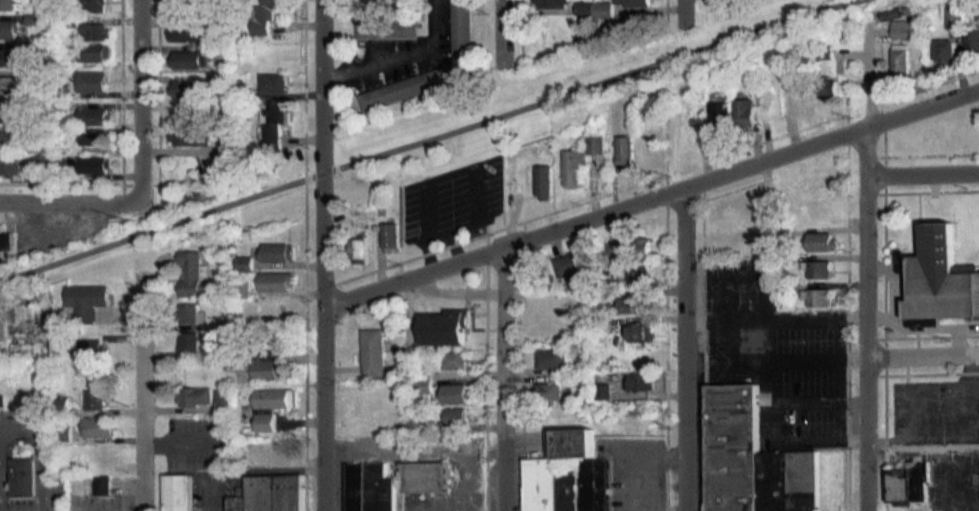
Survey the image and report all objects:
building: (556, 3)
building: (9, 5)
building: (94, 6)
road: (684, 7)
building: (596, 9)
building: (267, 15)
building: (958, 15)
building: (392, 24)
building: (9, 29)
building: (905, 29)
road: (503, 32)
building: (98, 33)
building: (189, 33)
building: (974, 45)
building: (951, 52)
building: (97, 53)
building: (9, 58)
road: (400, 59)
building: (189, 60)
building: (903, 63)
building: (94, 83)
building: (275, 84)
building: (10, 86)
building: (829, 87)
building: (188, 89)
building: (805, 96)
road: (146, 102)
building: (778, 104)
building: (63, 106)
building: (9, 114)
building: (746, 114)
building: (96, 117)
building: (189, 117)
building: (722, 118)
building: (274, 124)
building: (95, 138)
building: (191, 138)
road: (427, 138)
building: (9, 142)
building: (626, 154)
building: (579, 161)
building: (97, 165)
building: (9, 167)
building: (221, 172)
road: (924, 173)
building: (544, 181)
road: (652, 199)
road: (74, 204)
building: (825, 207)
building: (742, 216)
building: (391, 235)
building: (822, 241)
building: (5, 242)
building: (640, 248)
building: (359, 250)
building: (615, 251)
building: (278, 252)
road: (325, 255)
building: (571, 263)
road: (868, 265)
building: (821, 269)
building: (641, 272)
building: (192, 274)
building: (941, 278)
building: (278, 281)
building: (820, 297)
building: (86, 300)
building: (630, 305)
building: (189, 313)
building: (445, 326)
building: (643, 331)
building: (30, 332)
building: (190, 340)
road: (689, 349)
building: (374, 352)
road: (778, 355)
building: (92, 356)
building: (554, 358)
road: (923, 359)
building: (456, 360)
building: (262, 366)
road: (505, 379)
building: (643, 380)
building: (424, 389)
building: (549, 391)
building: (456, 392)
road: (152, 395)
building: (196, 395)
building: (95, 398)
building: (272, 406)
building: (387, 416)
building: (457, 416)
building: (99, 426)
building: (64, 429)
road: (783, 433)
building: (279, 450)
building: (99, 455)
building: (753, 458)
building: (568, 474)
building: (427, 476)
building: (22, 477)
building: (908, 481)
building: (103, 484)
building: (370, 487)
building: (178, 492)
building: (270, 493)

